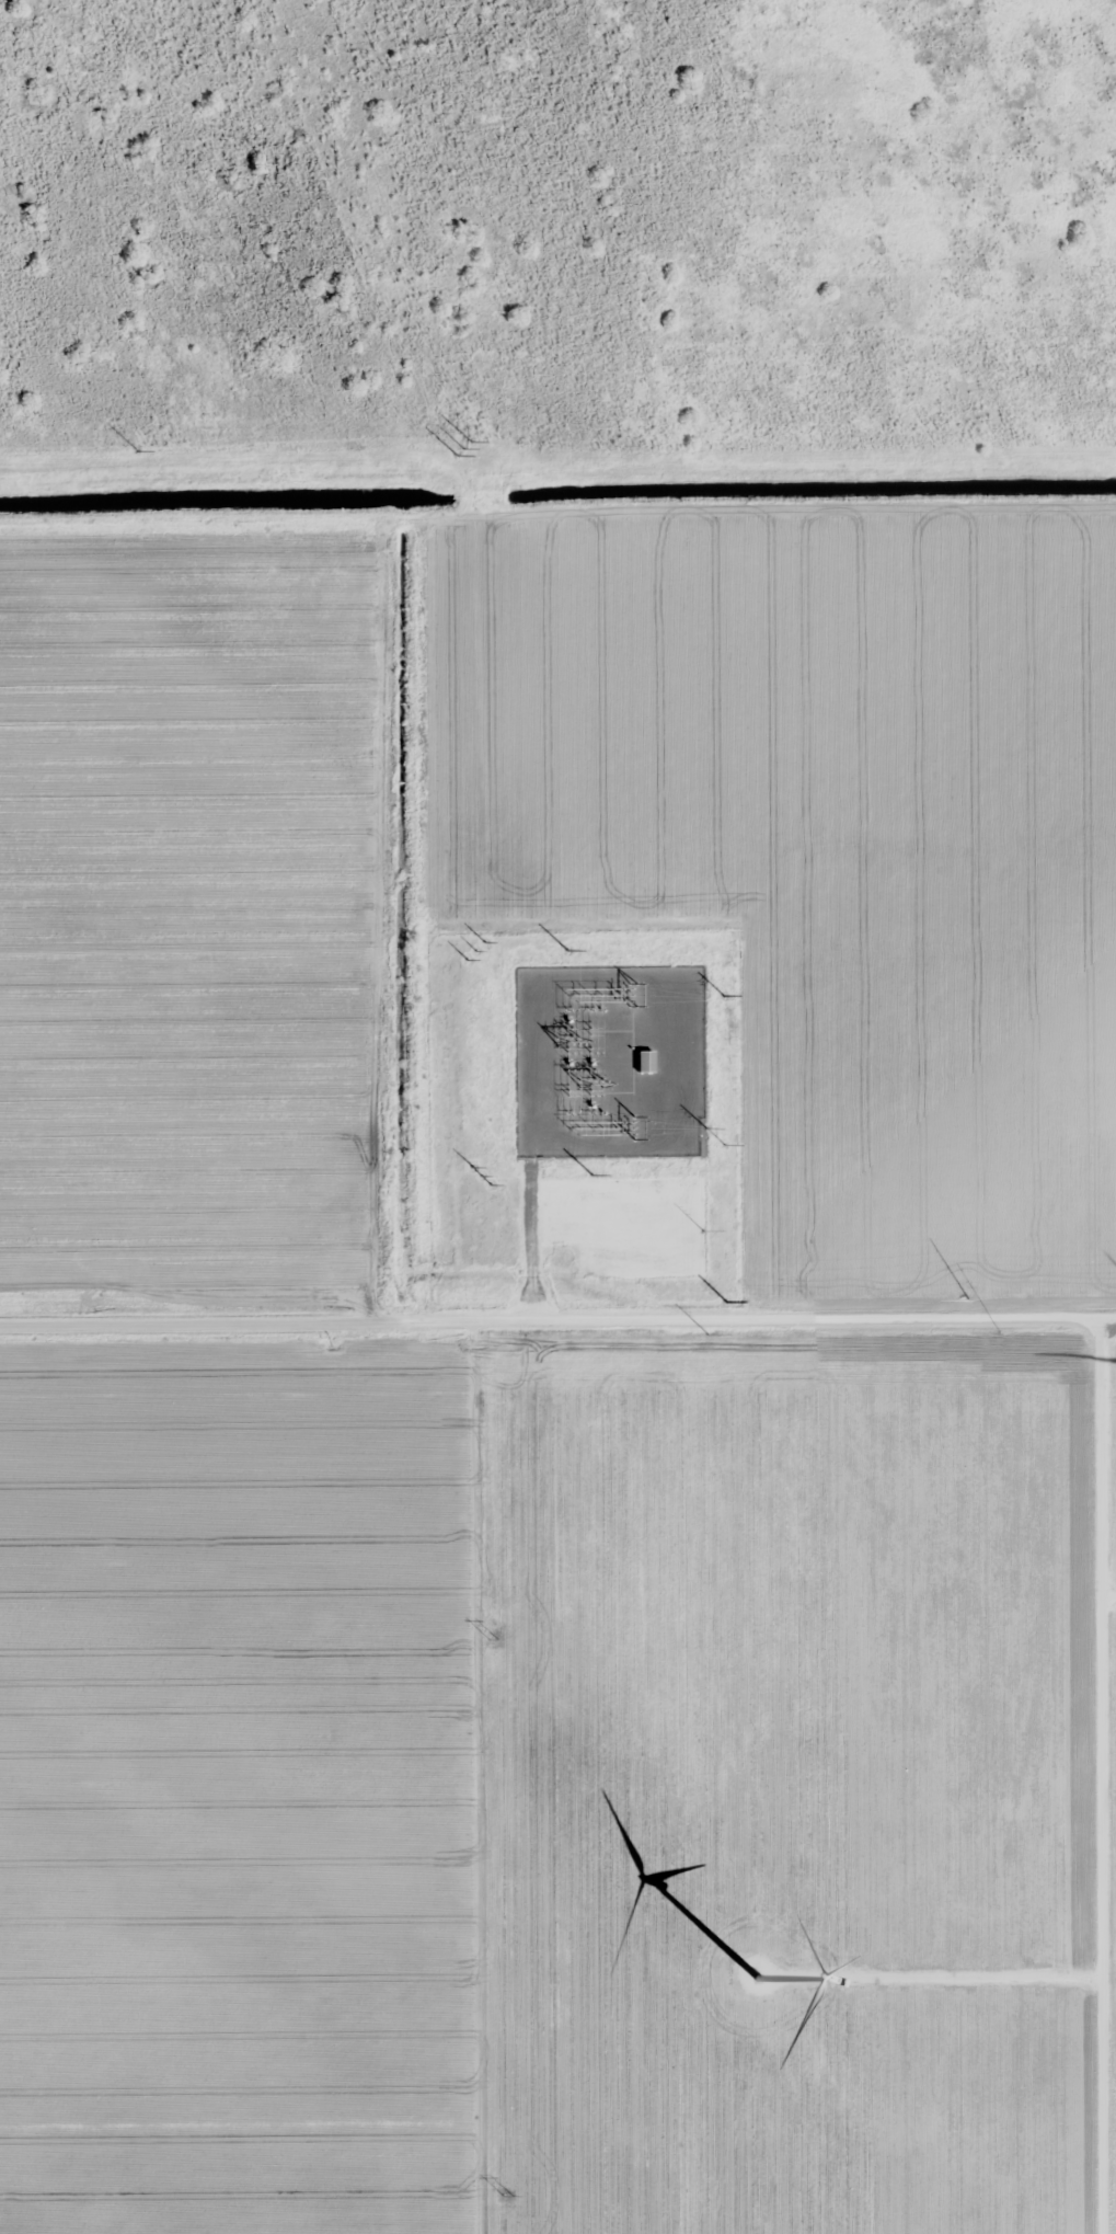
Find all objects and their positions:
power tower: (469, 490)
power tower: (568, 950)
power tower: (476, 951)
power substation: (611, 1061)
road: (557, 1308)
power tower: (493, 1639)
road: (1109, 1775)
wind turbine: (736, 1978)
power tower: (508, 2196)

